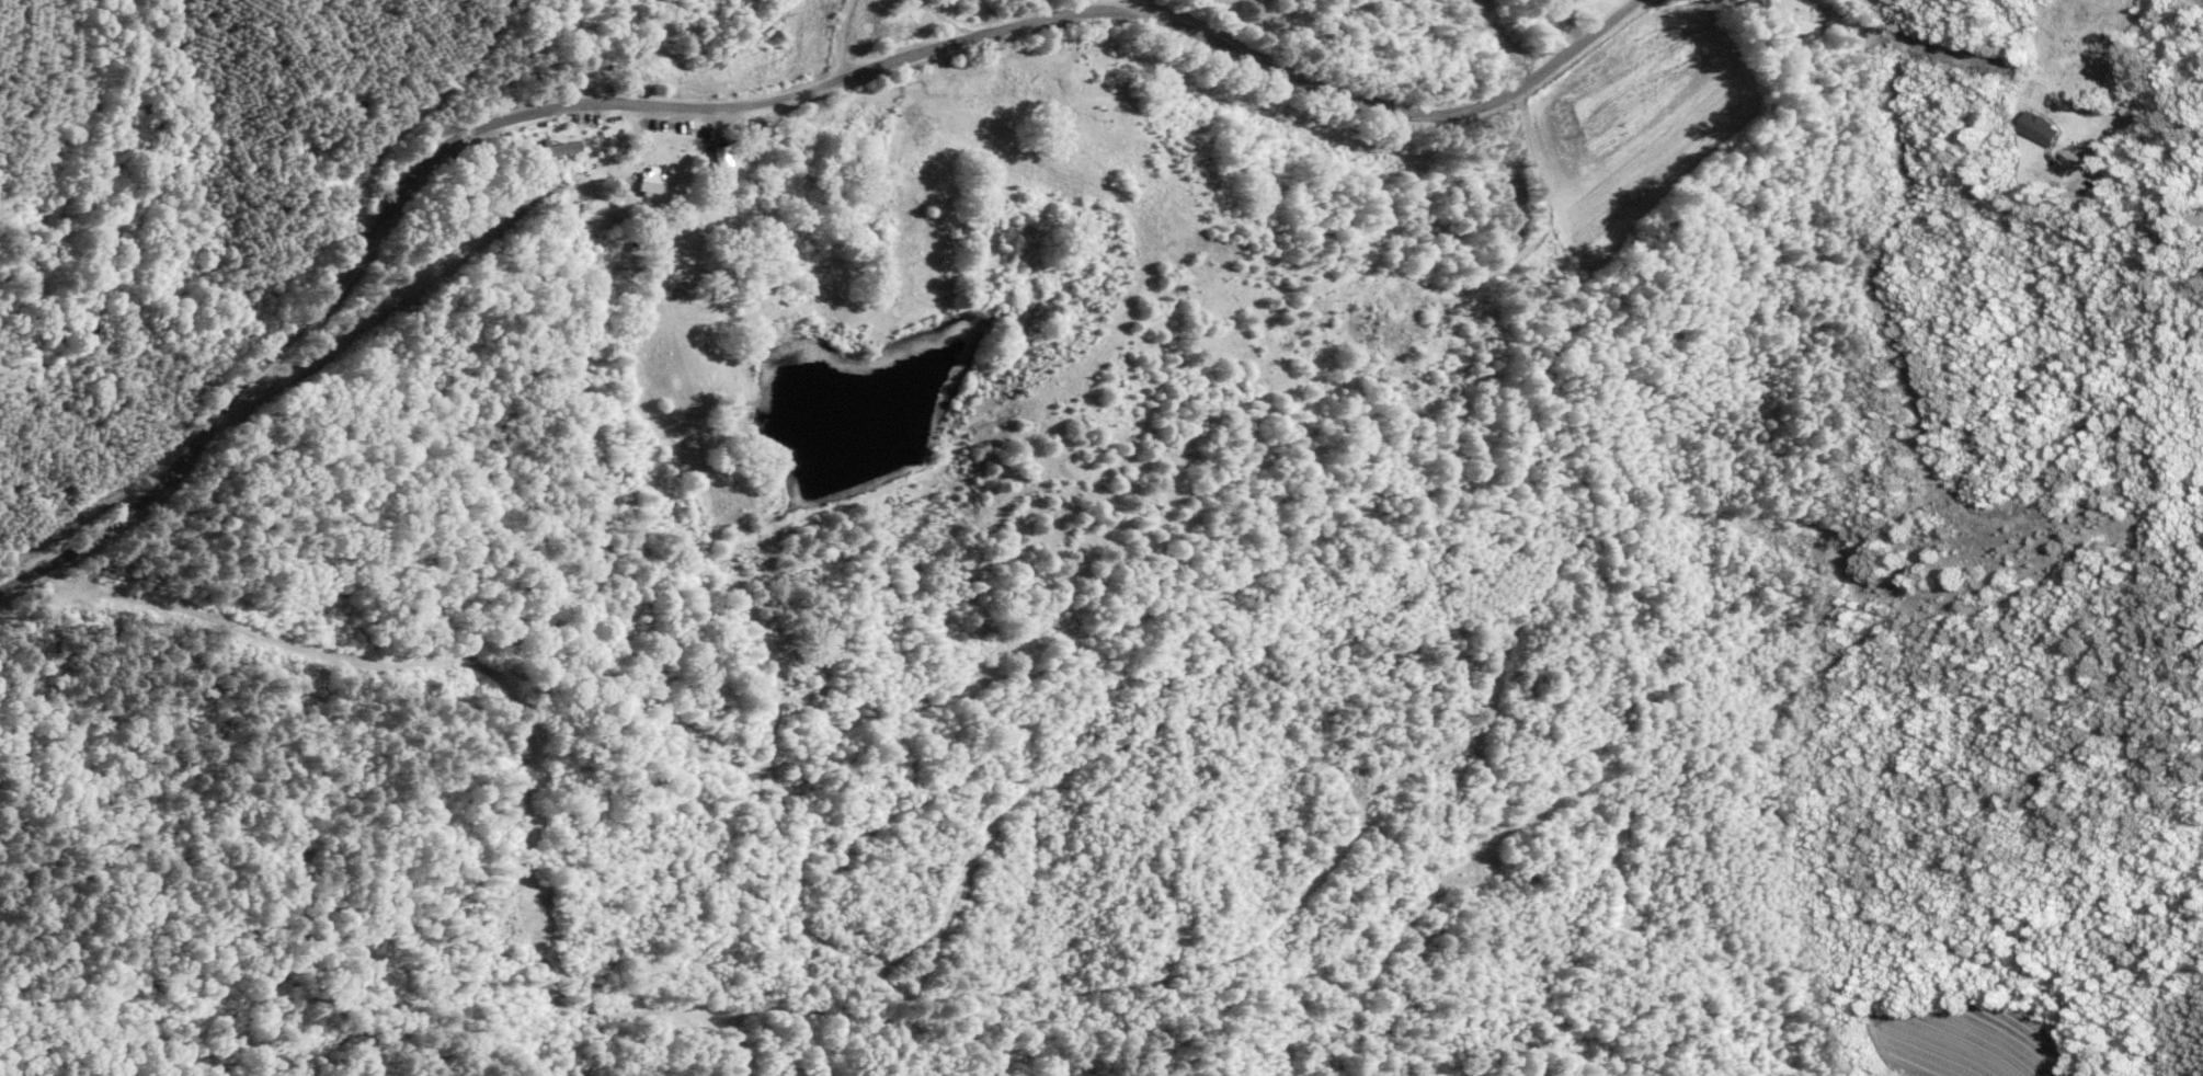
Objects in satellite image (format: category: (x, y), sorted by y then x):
road: (1106, 5)
road: (946, 21)
building: (1802, 21)
road: (836, 37)
road: (2114, 100)
road: (751, 102)
building: (2036, 128)
building: (655, 183)
building: (1370, 324)

